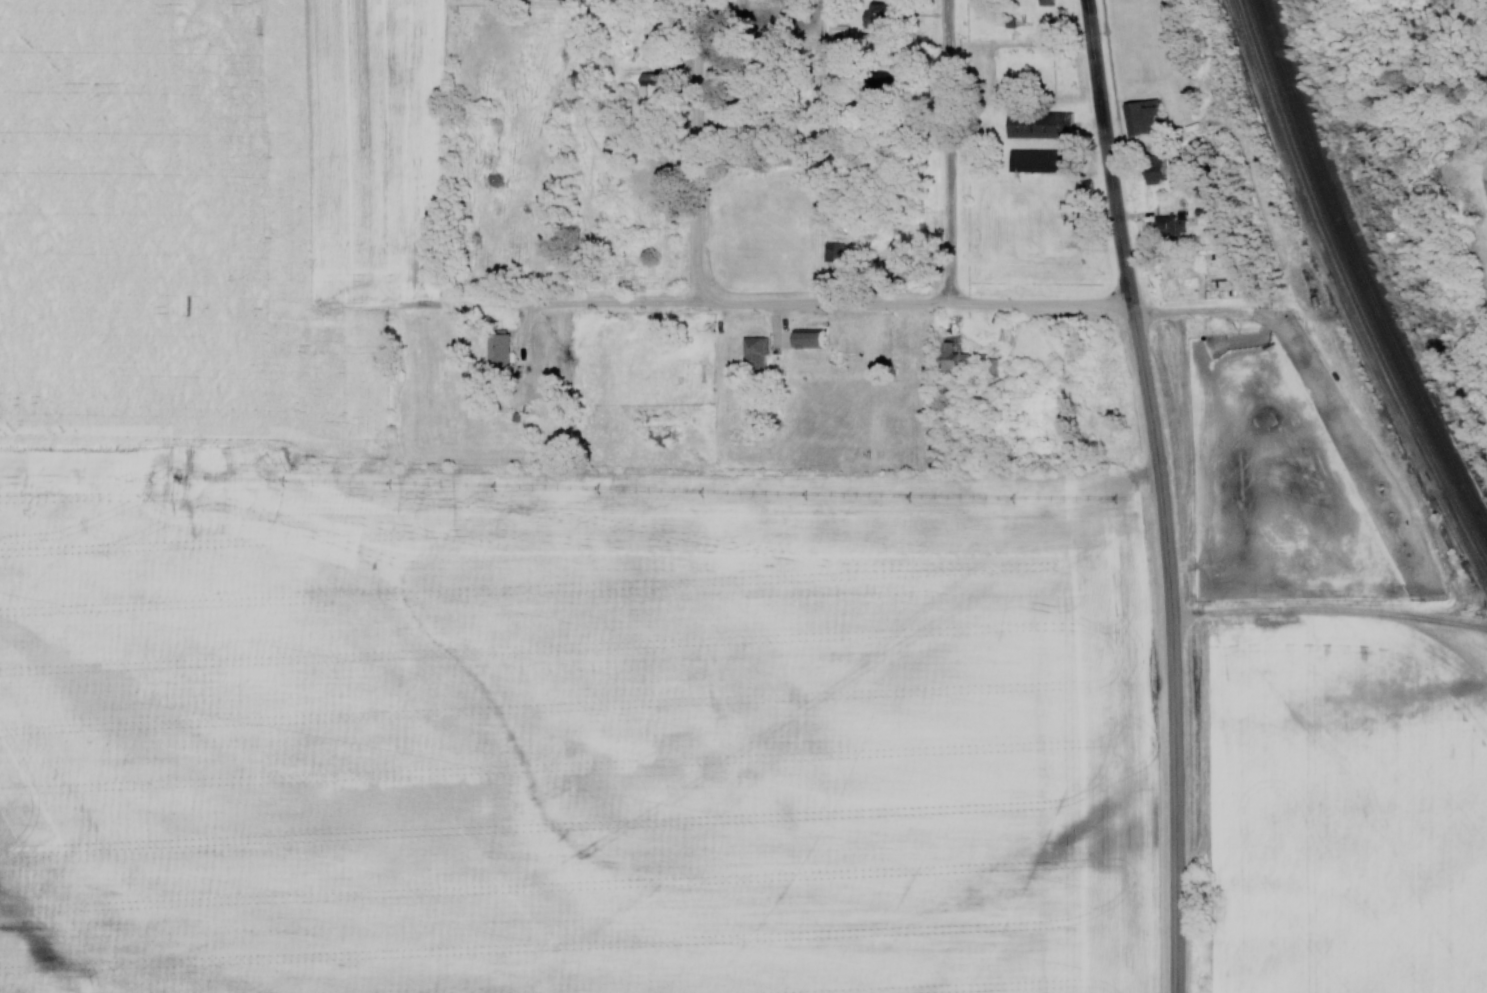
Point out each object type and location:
building: (1043, 2)
building: (874, 14)
building: (836, 30)
building: (648, 91)
building: (1141, 117)
building: (1039, 123)
road: (949, 151)
road: (696, 152)
building: (1036, 158)
building: (1151, 169)
road: (1404, 184)
building: (1081, 187)
building: (1169, 225)
road: (1120, 241)
building: (832, 252)
railway: (1357, 272)
railway: (1348, 285)
road: (820, 304)
building: (805, 340)
building: (908, 346)
building: (496, 349)
building: (753, 354)
building: (951, 355)
road: (1176, 736)

